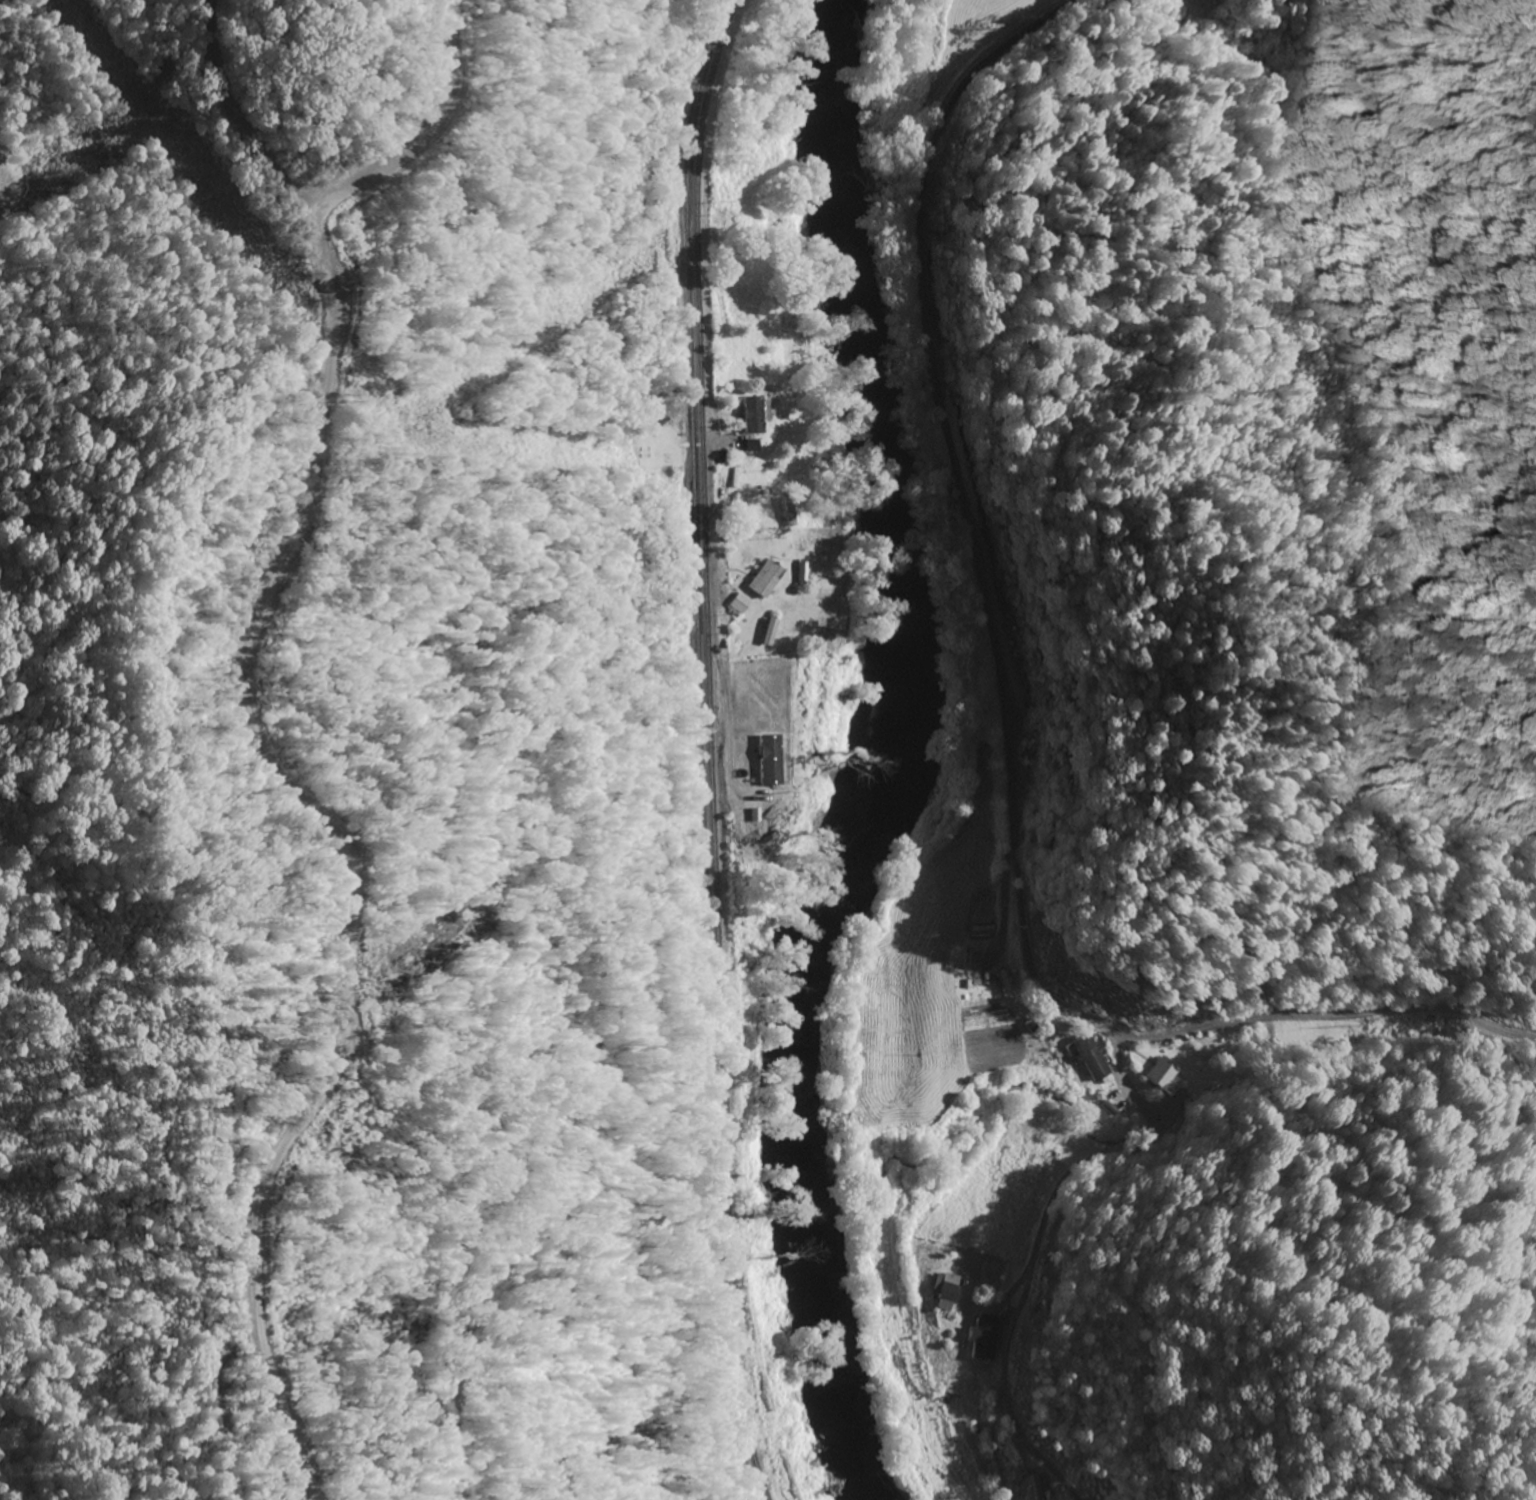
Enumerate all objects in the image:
road: (237, 117)
road: (425, 127)
road: (707, 369)
building: (754, 415)
building: (750, 446)
building: (765, 580)
building: (740, 604)
building: (769, 633)
road: (1013, 716)
railway: (714, 750)
railway: (707, 751)
river: (897, 758)
building: (769, 761)
road: (337, 847)
building: (1006, 983)
building: (1091, 1058)
building: (1160, 1075)
road: (1069, 1175)
building: (946, 1293)
building: (984, 1337)
road: (1005, 1445)
building: (1039, 1487)

